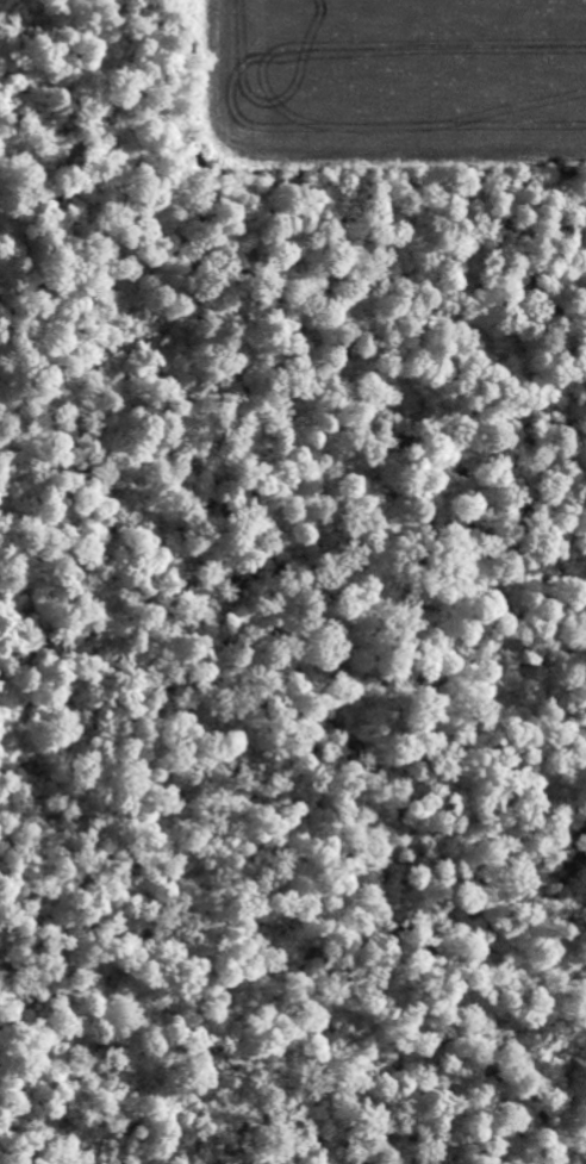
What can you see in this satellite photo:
park: (281, 643)

